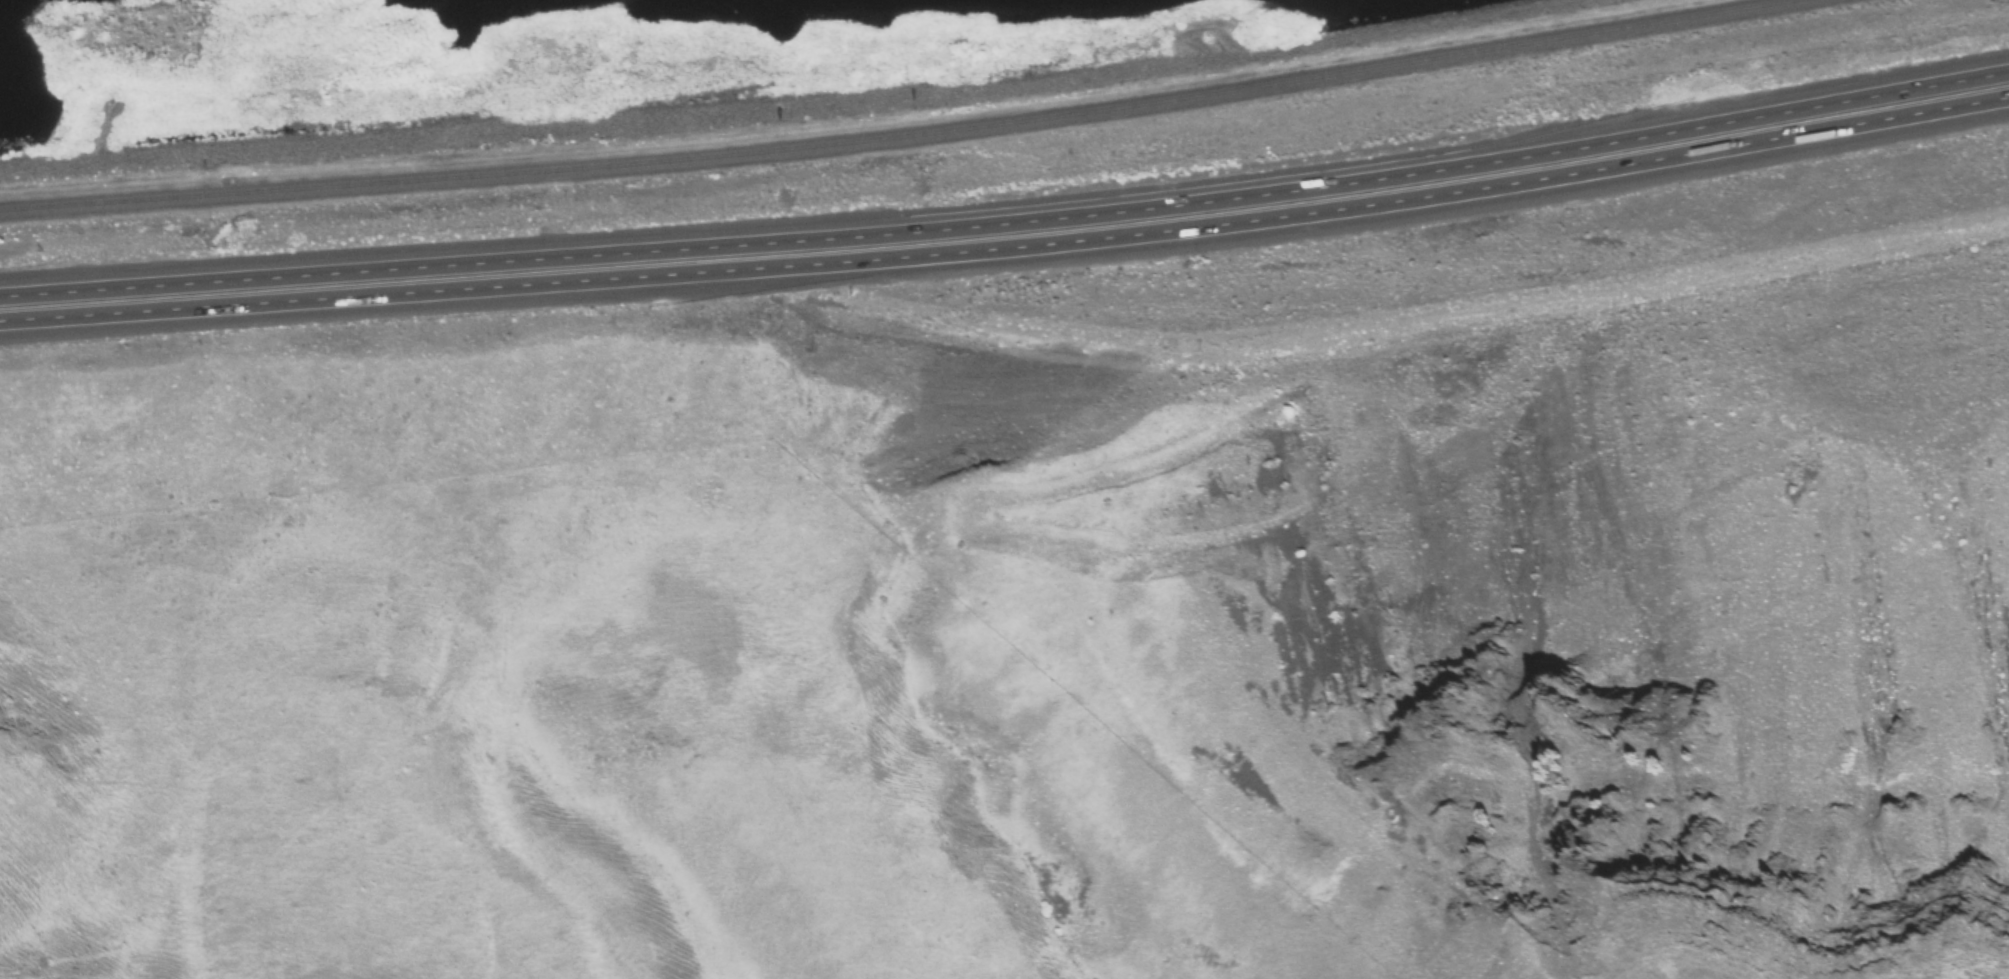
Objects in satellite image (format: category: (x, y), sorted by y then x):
railway: (909, 136)
road: (1008, 223)
road: (1007, 246)

